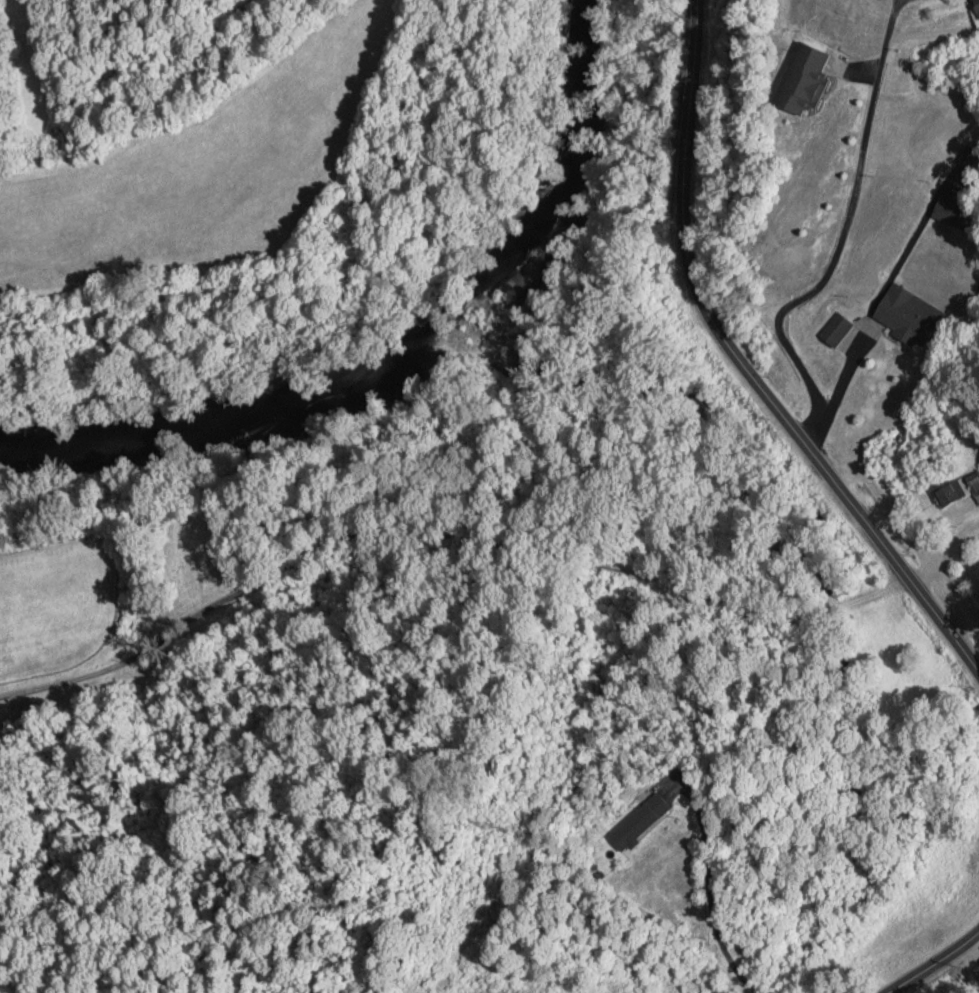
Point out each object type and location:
building: (975, 8)
building: (798, 78)
building: (950, 213)
building: (907, 316)
building: (834, 330)
river: (409, 358)
road: (746, 367)
building: (957, 490)
road: (445, 536)
building: (636, 821)
power tower: (489, 826)
road: (936, 963)

